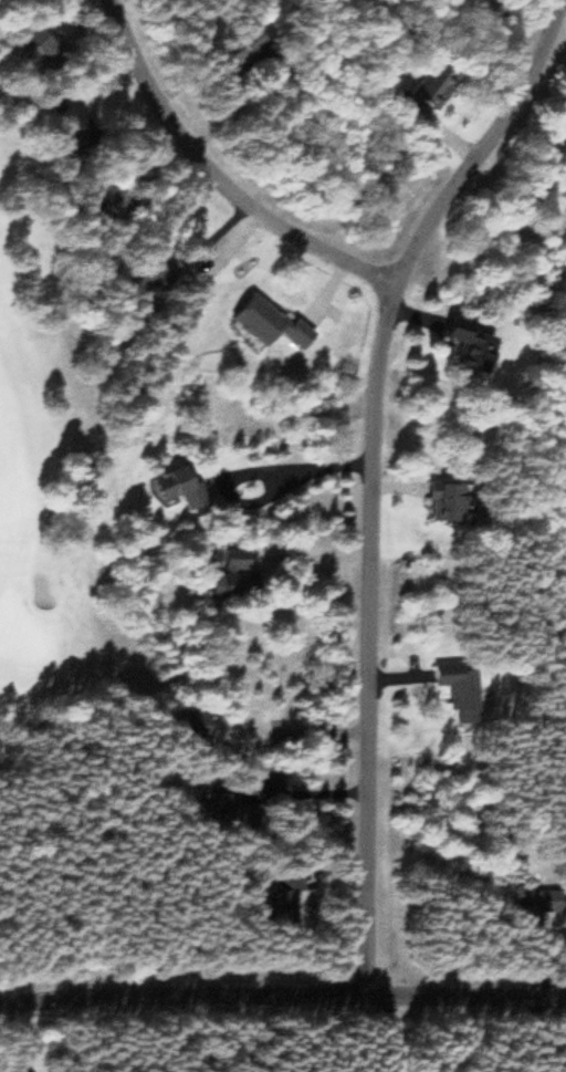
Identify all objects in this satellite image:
building: (21, 42)
building: (229, 45)
building: (415, 93)
building: (62, 123)
road: (214, 176)
building: (91, 201)
building: (129, 271)
building: (260, 325)
building: (458, 346)
road: (370, 475)
building: (170, 487)
park: (51, 489)
building: (438, 502)
building: (226, 576)
building: (450, 693)
building: (181, 726)
building: (217, 810)
building: (280, 902)
building: (527, 908)
road: (282, 997)

